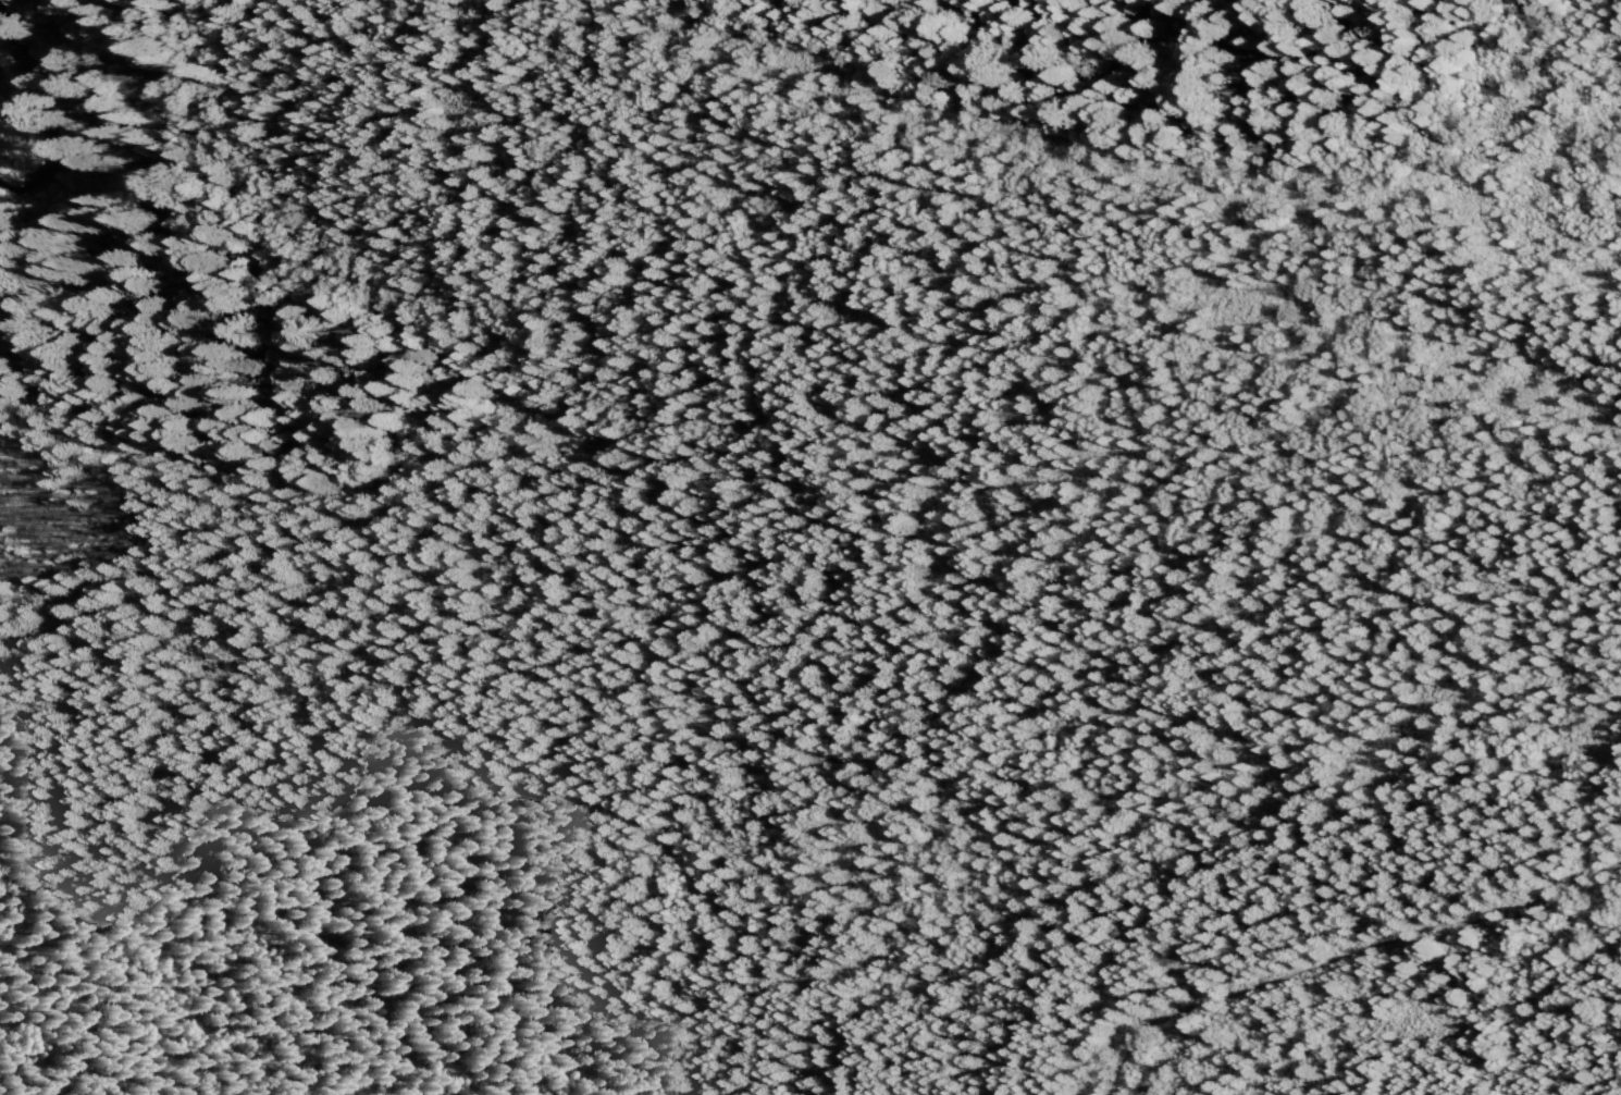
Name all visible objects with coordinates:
road: (98, 67)
road: (714, 465)
road: (150, 596)
road: (1340, 959)

